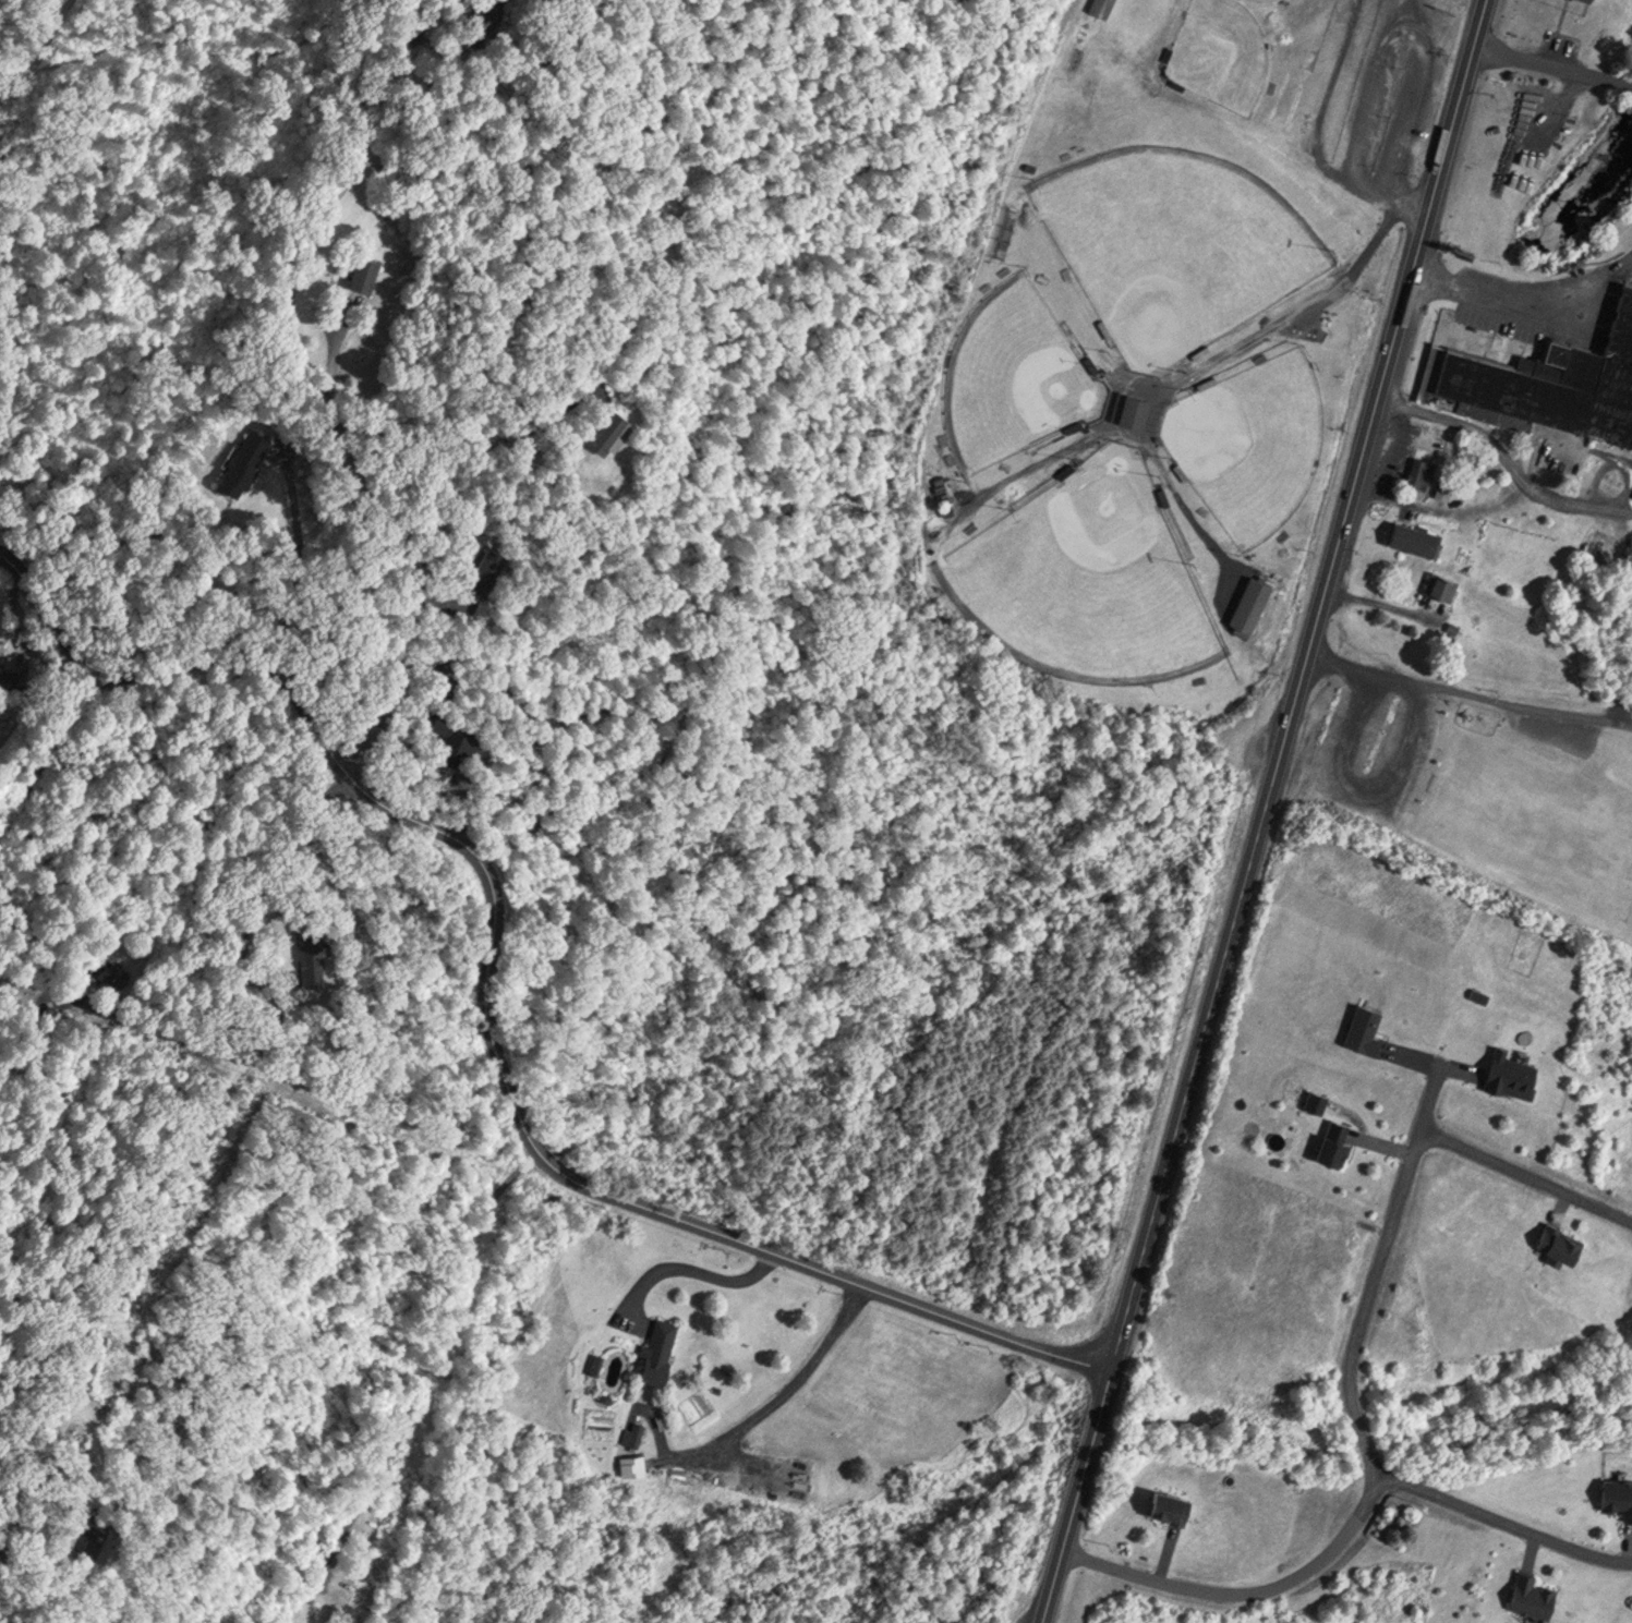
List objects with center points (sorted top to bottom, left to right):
building: (1101, 5)
road: (1414, 23)
park: (1221, 51)
road: (1554, 64)
parking lot: (1371, 100)
parking lot: (1409, 113)
road: (1320, 122)
park: (1172, 242)
building: (366, 271)
parking lot: (1500, 275)
road: (1528, 291)
road: (1308, 302)
parking lot: (1502, 319)
road: (270, 331)
park: (1155, 343)
road: (1104, 365)
park: (1013, 376)
building: (1555, 379)
building: (1132, 405)
road: (1456, 421)
building: (611, 428)
road: (1104, 428)
park: (1249, 443)
road: (1611, 455)
building: (1426, 462)
road: (1029, 470)
building: (1446, 486)
road: (1563, 494)
road: (1438, 505)
road: (1623, 506)
road: (1185, 508)
building: (1416, 536)
road: (487, 555)
building: (488, 568)
park: (1086, 572)
building: (1443, 583)
road: (1380, 601)
road: (34, 615)
building: (3, 670)
road: (1463, 694)
building: (455, 735)
road: (50, 748)
road: (1264, 810)
road: (33, 935)
building: (1480, 994)
road: (1450, 1065)
road: (499, 1069)
building: (1513, 1073)
building: (1317, 1099)
building: (1338, 1139)
road: (1391, 1142)
road: (196, 1143)
road: (1525, 1171)
road: (1564, 1199)
building: (1562, 1238)
road: (691, 1269)
road: (1378, 1271)
building: (661, 1348)
building: (597, 1356)
road: (418, 1360)
road: (784, 1392)
building: (633, 1431)
building: (1619, 1491)
building: (1173, 1500)
road: (1502, 1522)
building: (101, 1535)
road: (1630, 1541)
road: (1534, 1543)
road: (1164, 1552)
road: (1248, 1589)
building: (1534, 1592)
building: (292, 1621)

